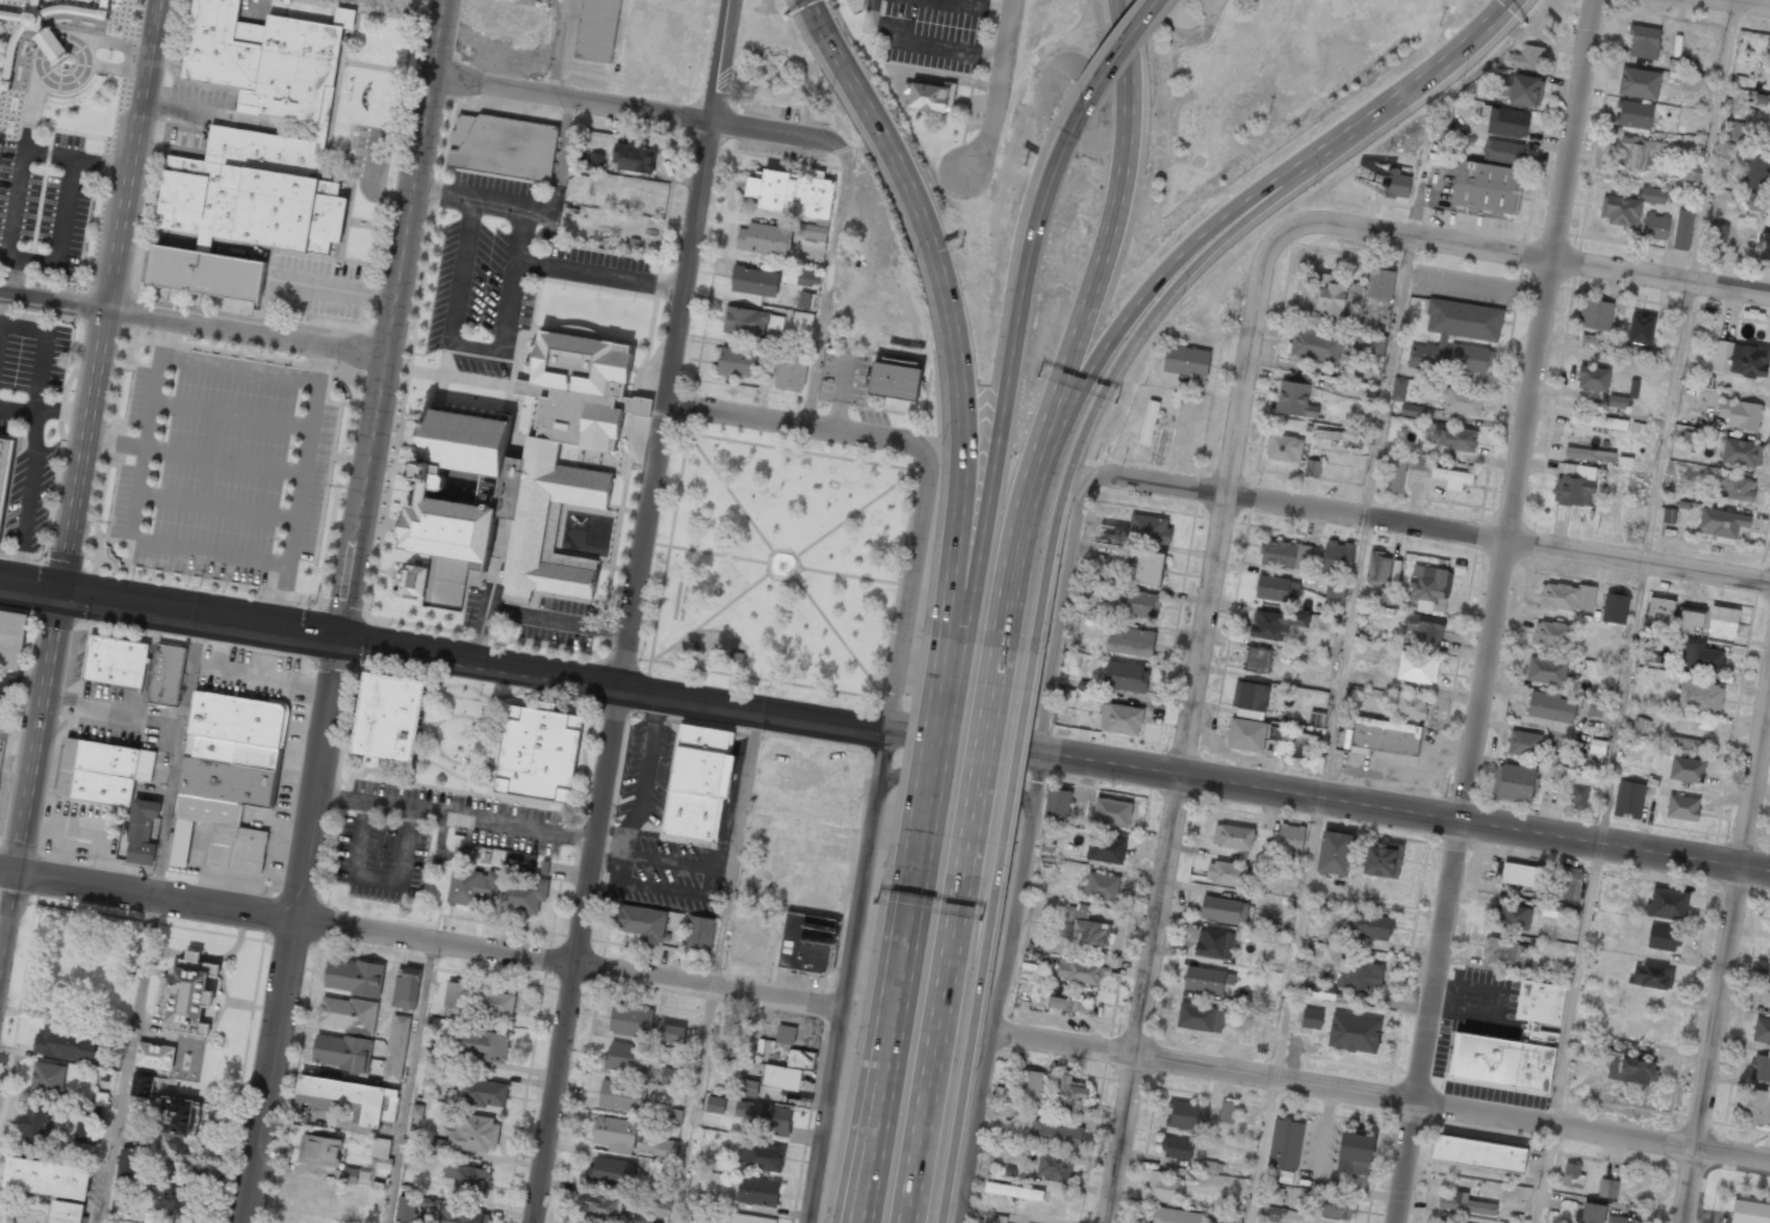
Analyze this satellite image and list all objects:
building: (12, 0)
road: (1758, 1)
road: (964, 2)
building: (855, 5)
building: (87, 8)
road: (873, 17)
building: (24, 25)
building: (597, 30)
parking lot: (934, 32)
building: (1643, 42)
building: (50, 44)
road: (1117, 51)
building: (1528, 57)
road: (721, 61)
road: (1438, 66)
park: (779, 67)
building: (1640, 82)
road: (996, 88)
building: (1520, 90)
building: (929, 97)
road: (629, 108)
building: (1635, 115)
building: (1503, 121)
building: (1734, 130)
building: (502, 146)
building: (251, 151)
building: (1505, 151)
building: (1637, 152)
building: (633, 157)
building: (594, 161)
building: (1754, 169)
building: (1691, 171)
building: (1397, 184)
building: (1485, 186)
road: (444, 192)
building: (795, 197)
building: (1754, 202)
parking lot: (45, 203)
building: (1629, 206)
building: (1768, 214)
building: (1655, 226)
building: (1683, 230)
building: (1717, 233)
building: (764, 239)
building: (1764, 246)
road: (1540, 255)
road: (691, 262)
parking lot: (502, 263)
road: (1546, 268)
building: (807, 277)
building: (753, 281)
building: (1380, 283)
building: (1330, 294)
road: (945, 300)
building: (1595, 314)
road: (395, 318)
road: (161, 319)
building: (799, 319)
building: (750, 322)
building: (1641, 329)
building: (1458, 336)
building: (1588, 342)
building: (1316, 344)
building: (1373, 344)
road: (1128, 347)
road: (1251, 348)
road: (356, 354)
building: (1740, 359)
building: (1186, 360)
building: (738, 362)
road: (321, 365)
road: (1009, 366)
building: (791, 372)
building: (895, 378)
building: (1593, 378)
building: (1398, 389)
building: (1295, 399)
building: (1458, 400)
building: (1618, 402)
building: (1411, 410)
road: (231, 414)
building: (1740, 414)
building: (1598, 421)
building: (1148, 422)
road: (808, 423)
building: (1336, 435)
building: (1453, 439)
road: (116, 442)
building: (1283, 448)
building: (1741, 452)
building: (1588, 453)
road: (224, 460)
building: (4, 461)
building: (1417, 463)
parking lot: (221, 466)
building: (525, 467)
building: (1312, 467)
road: (914, 472)
building: (1393, 473)
building: (1452, 477)
road: (1150, 487)
building: (1740, 489)
road: (77, 490)
building: (1573, 490)
road: (730, 491)
road: (216, 507)
road: (856, 512)
road: (1367, 520)
building: (1722, 522)
building: (1148, 528)
road: (719, 552)
building: (1284, 555)
road: (1638, 559)
park: (781, 561)
road: (286, 564)
building: (1378, 567)
building: (1149, 568)
road: (798, 570)
road: (848, 575)
building: (409, 585)
building: (1100, 588)
building: (1277, 588)
building: (1429, 588)
building: (1336, 591)
traffic signals: (61, 592)
building: (1385, 595)
road: (282, 597)
building: (1567, 597)
road: (910, 601)
building: (1142, 604)
building: (1615, 609)
road: (170, 610)
road: (1640, 611)
building: (1660, 611)
road: (710, 614)
building: (1690, 619)
building: (1722, 620)
building: (1276, 623)
road: (1062, 626)
building: (1421, 628)
road: (836, 635)
road: (953, 635)
building: (1552, 635)
traffic signals: (341, 637)
building: (12, 638)
building: (1130, 642)
building: (1698, 656)
building: (1257, 660)
building: (115, 661)
building: (1417, 667)
building: (1546, 671)
building: (166, 674)
building: (1125, 677)
building: (1250, 696)
building: (1699, 696)
road: (690, 697)
building: (1408, 705)
building: (1550, 705)
building: (1600, 708)
building: (387, 716)
building: (1121, 718)
road: (1330, 728)
building: (1640, 728)
building: (1277, 734)
building: (1246, 735)
building: (1385, 736)
building: (1524, 744)
building: (1686, 744)
building: (1305, 746)
building: (537, 752)
road: (932, 760)
building: (1678, 768)
building: (103, 771)
road: (1013, 775)
building: (226, 781)
building: (1516, 782)
building: (697, 784)
road: (957, 787)
building: (1579, 791)
building: (1629, 799)
building: (1057, 806)
building: (1683, 808)
building: (208, 809)
road: (600, 812)
building: (1111, 812)
road: (1404, 812)
building: (140, 831)
building: (1233, 837)
building: (1290, 838)
road: (734, 848)
building: (237, 849)
building: (1105, 849)
building: (1335, 852)
road: (1167, 861)
building: (1383, 861)
building: (1227, 874)
building: (1522, 875)
road: (1449, 880)
building: (1101, 886)
building: (1570, 886)
building: (490, 887)
road: (148, 893)
building: (1667, 904)
building: (1223, 910)
building: (1510, 917)
building: (641, 922)
building: (1373, 925)
road: (905, 928)
building: (1084, 928)
road: (295, 930)
building: (698, 934)
building: (749, 937)
building: (1664, 937)
building: (806, 943)
building: (1214, 943)
building: (1500, 949)
road: (1725, 956)
road: (569, 962)
building: (1769, 965)
building: (1079, 972)
building: (1360, 976)
building: (1652, 976)
building: (354, 977)
road: (846, 977)
building: (1207, 979)
building: (405, 987)
road: (1000, 987)
building: (191, 993)
building: (1766, 996)
building: (456, 998)
building: (493, 1003)
road: (916, 1004)
building: (1070, 1004)
building: (348, 1014)
building: (1200, 1017)
building: (1311, 1017)
building: (630, 1021)
building: (1762, 1029)
building: (672, 1033)
building: (1354, 1033)
building: (727, 1034)
building: (785, 1034)
building: (65, 1044)
building: (1514, 1044)
building: (484, 1045)
building: (396, 1048)
building: (342, 1052)
building: (154, 1056)
building: (625, 1056)
road: (884, 1056)
road: (130, 1059)
road: (966, 1059)
building: (1760, 1068)
building: (1632, 1069)
building: (788, 1070)
building: (669, 1077)
building: (48, 1080)
road: (414, 1082)
building: (1030, 1084)
building: (141, 1086)
building: (746, 1088)
building: (482, 1093)
building: (1069, 1094)
building: (621, 1096)
building: (349, 1099)
road: (1380, 1100)
road: (692, 1105)
building: (1757, 1107)
building: (1227, 1112)
building: (1185, 1114)
building: (178, 1115)
building: (759, 1117)
building: (676, 1118)
building: (35, 1124)
building: (87, 1125)
road: (917, 1130)
building: (616, 1133)
building: (468, 1135)
building: (1056, 1135)
building: (1284, 1144)
building: (1177, 1148)
building: (666, 1149)
building: (319, 1150)
building: (382, 1152)
building: (1355, 1154)
building: (1479, 1154)
building: (762, 1157)
building: (128, 1163)
building: (1055, 1167)
building: (1210, 1167)
building: (657, 1169)
building: (611, 1170)
building: (349, 1175)
building: (1571, 1175)
building: (47, 1178)
building: (469, 1181)
road: (860, 1181)
road: (865, 1181)
building: (1162, 1187)
building: (1607, 1188)
building: (757, 1191)
building: (1013, 1191)
building: (1275, 1196)
building: (175, 1197)
building: (631, 1203)
building: (1466, 1204)
building: (602, 1206)
building: (655, 1206)
building: (414, 1207)
building: (66, 1212)
building: (1750, 1212)
building: (1272, 1213)
building: (1593, 1213)
building: (464, 1216)
building: (1174, 1216)
building: (750, 1218)
building: (1229, 1219)
building: (1619, 1219)
building: (685, 1222)
building: (1441, 1222)

